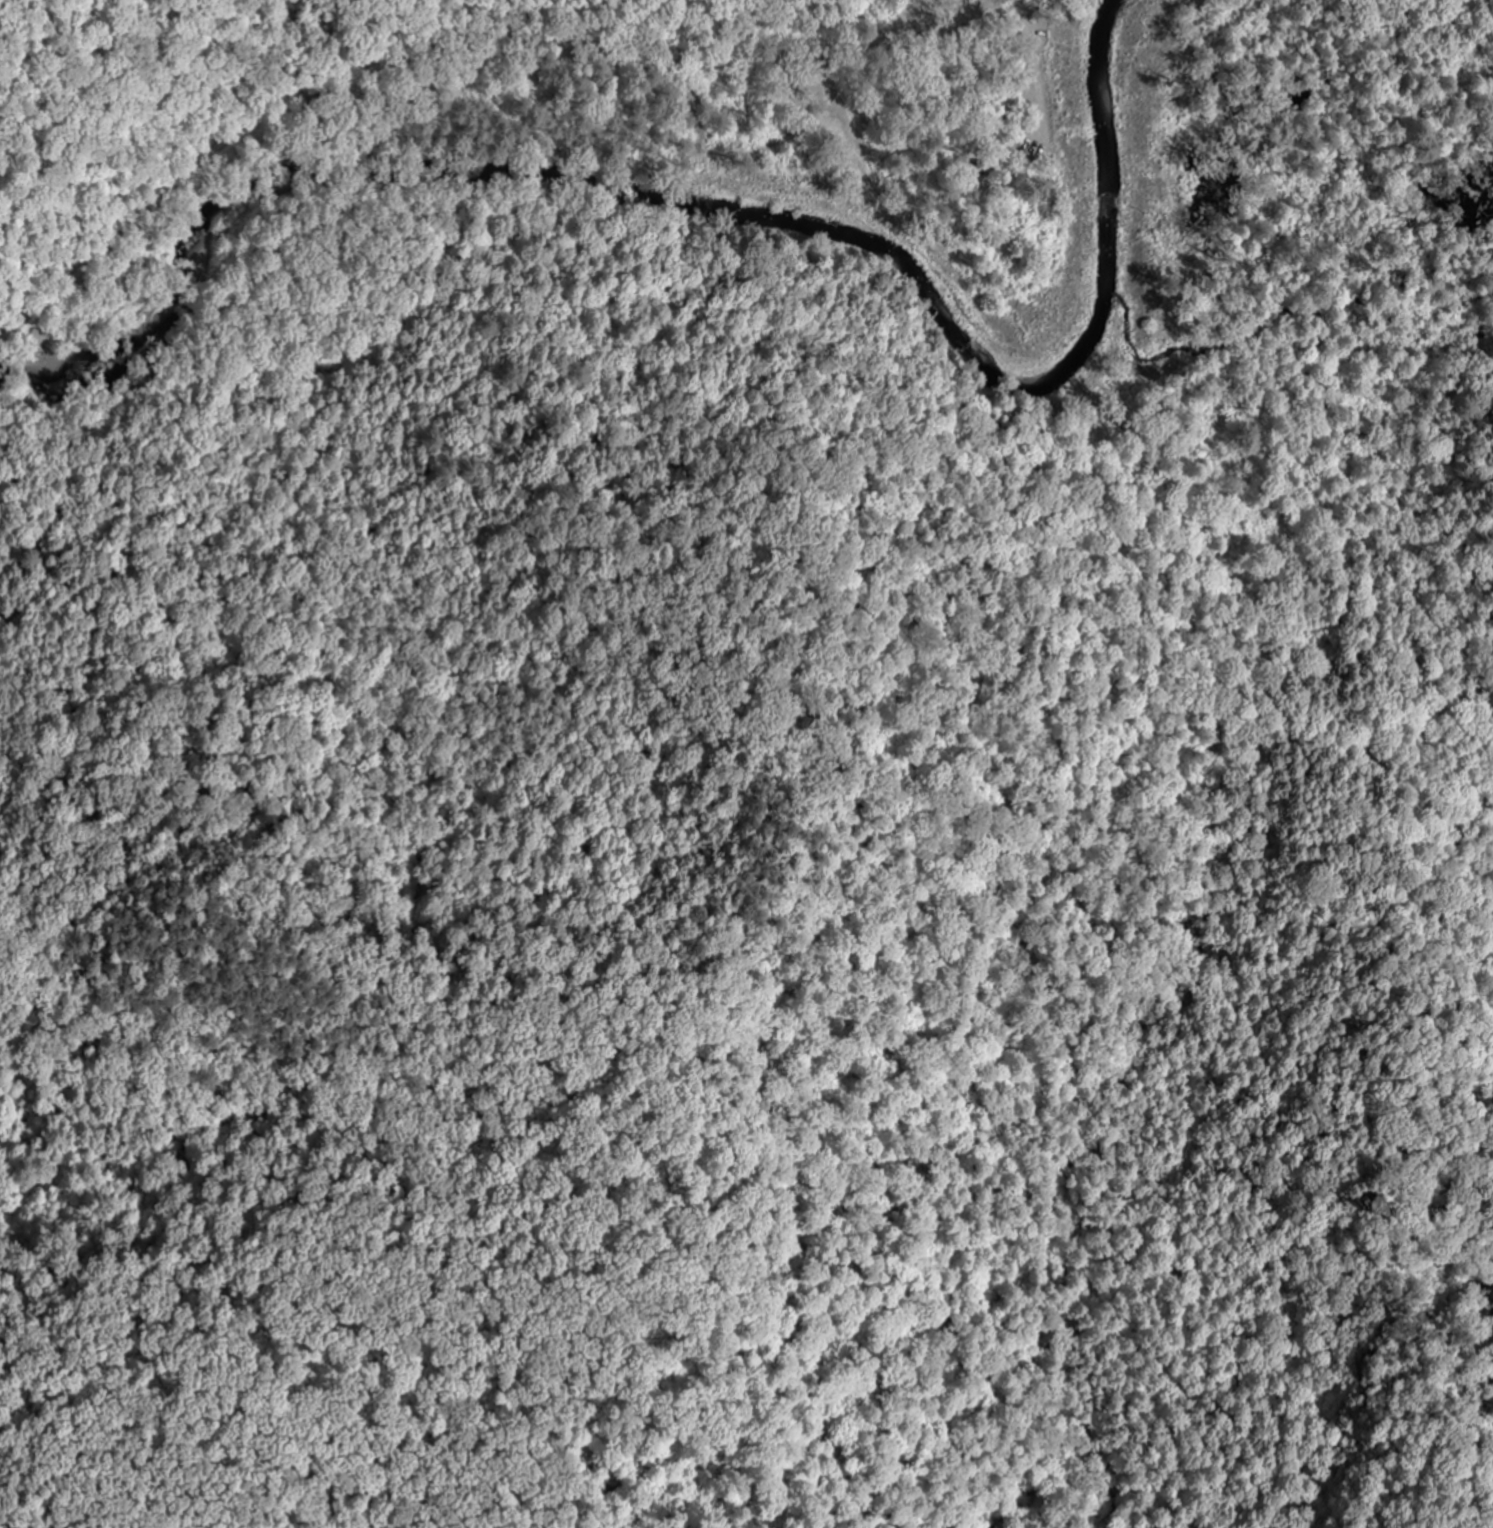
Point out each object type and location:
road: (474, 43)
road: (1286, 414)

